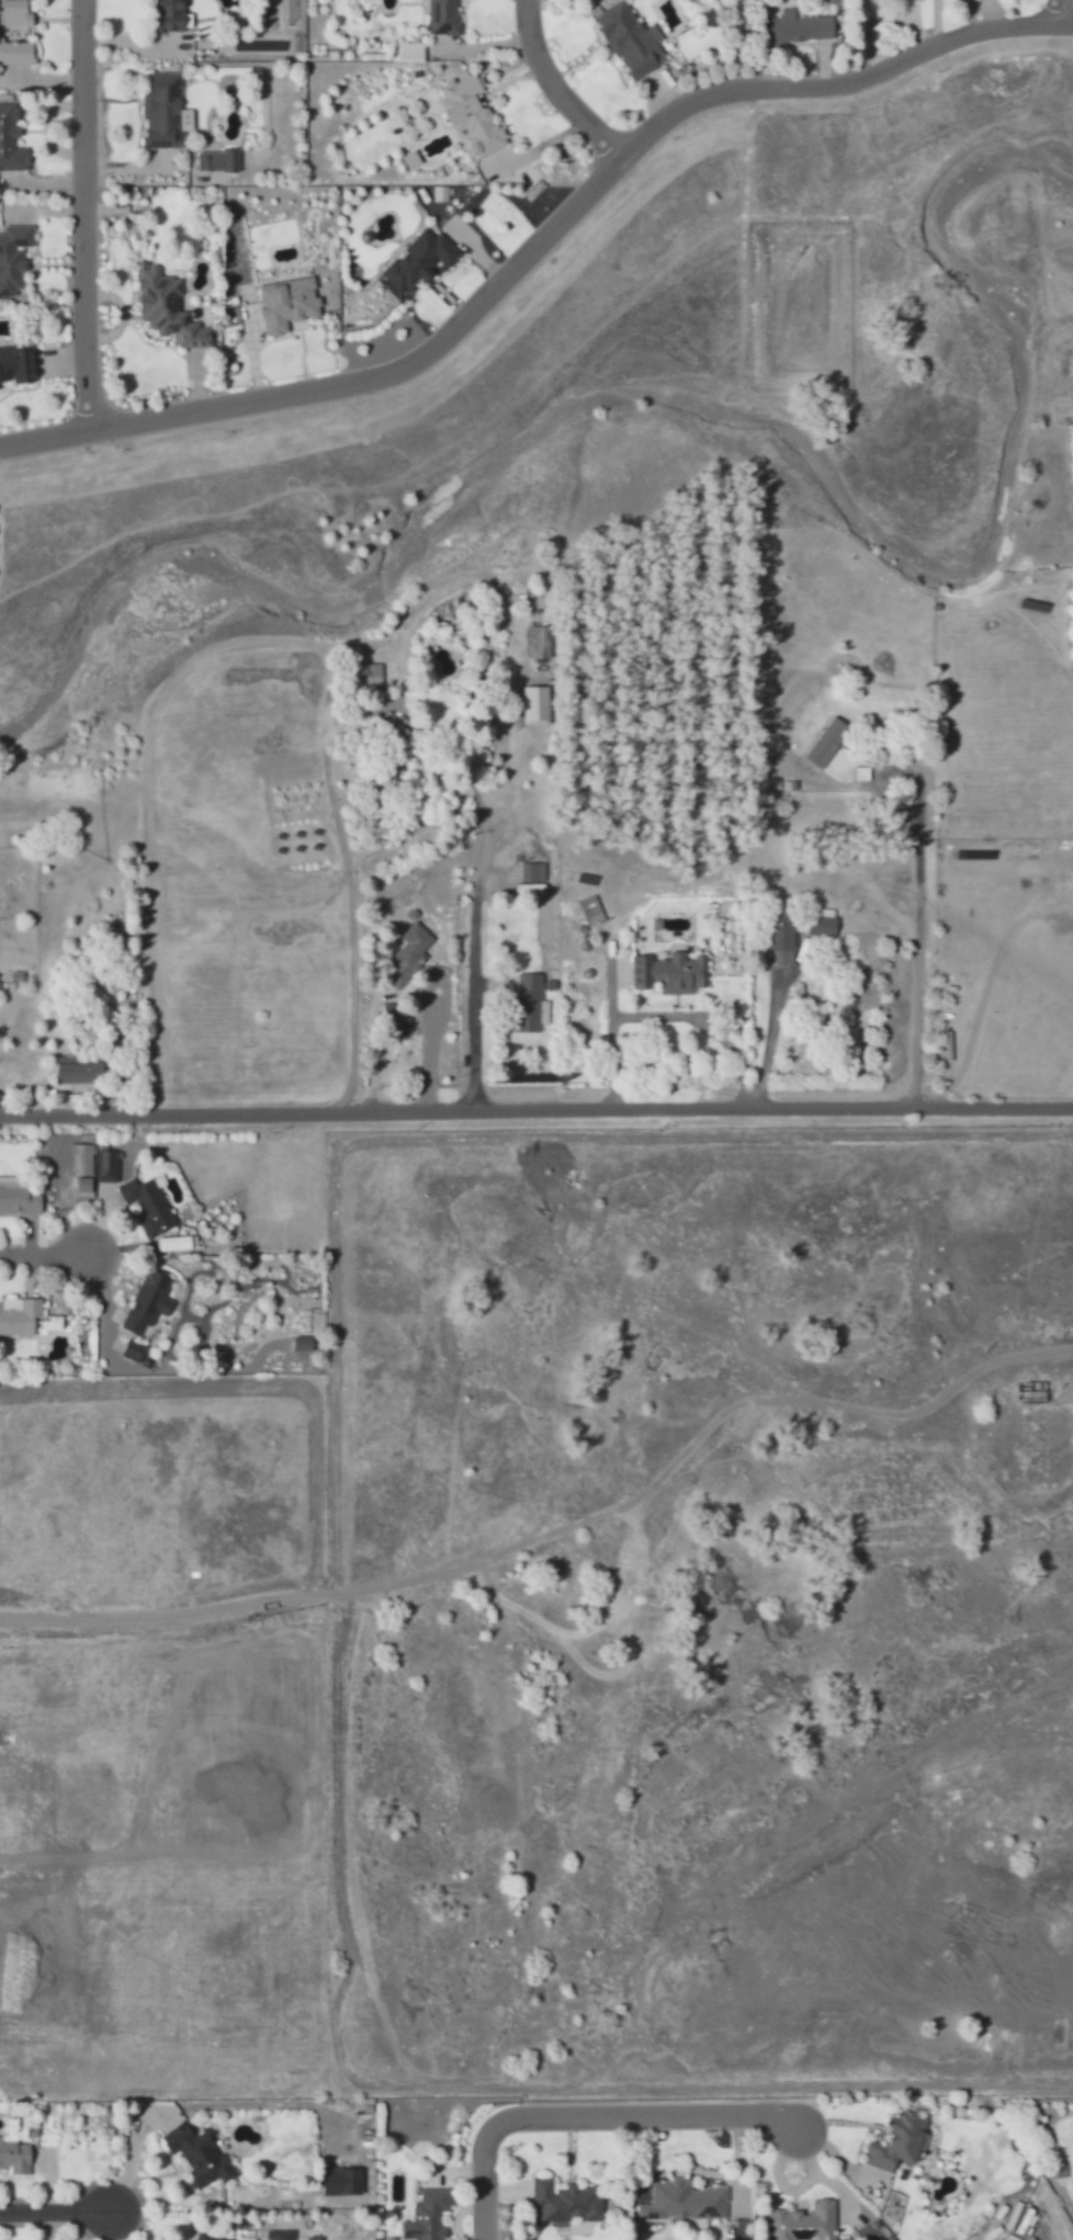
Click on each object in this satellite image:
building: (371, 1)
road: (1063, 7)
building: (15, 12)
building: (170, 15)
building: (444, 16)
building: (795, 29)
building: (632, 39)
building: (410, 52)
building: (16, 53)
road: (840, 82)
road: (557, 83)
building: (166, 112)
building: (472, 115)
building: (12, 139)
building: (219, 160)
building: (440, 193)
road: (83, 212)
building: (13, 258)
building: (420, 260)
building: (289, 303)
building: (168, 308)
building: (18, 364)
road: (351, 382)
building: (541, 642)
building: (536, 705)
building: (827, 742)
road: (468, 773)
building: (395, 776)
building: (532, 878)
building: (823, 923)
building: (783, 938)
road: (470, 963)
building: (671, 973)
building: (100, 1002)
building: (531, 1004)
road: (426, 1049)
building: (80, 1068)
road: (535, 1105)
building: (108, 1166)
building: (83, 1168)
building: (20, 1196)
building: (153, 1207)
building: (176, 1244)
road: (42, 1251)
building: (150, 1301)
building: (20, 1316)
building: (55, 1324)
building: (303, 1348)
building: (135, 1351)
building: (14, 1822)
road: (588, 2117)
building: (900, 2142)
building: (200, 2154)
building: (14, 2156)
road: (1001, 2179)
building: (343, 2181)
building: (564, 2202)
building: (684, 2202)
road: (53, 2206)
building: (429, 2216)
building: (805, 2220)
building: (697, 2226)
building: (281, 2235)
building: (207, 2236)

